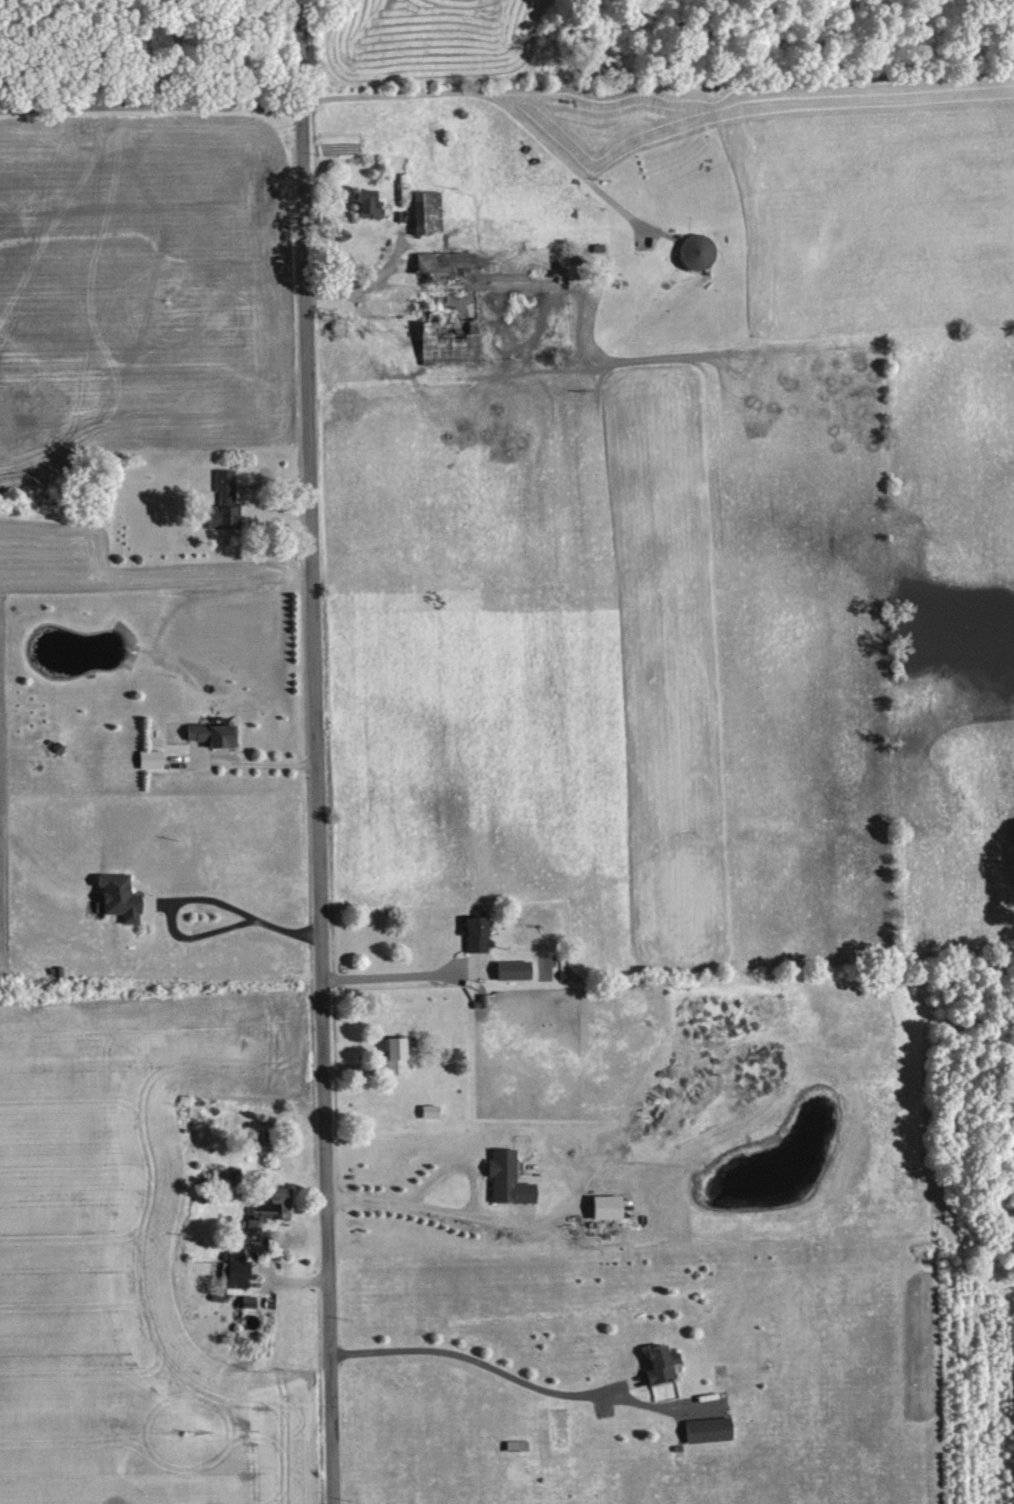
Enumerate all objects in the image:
road: (493, 94)
road: (149, 107)
building: (426, 210)
building: (694, 250)
building: (443, 262)
building: (449, 344)
building: (223, 499)
building: (212, 733)
road: (315, 751)
building: (149, 757)
road: (259, 761)
building: (118, 894)
road: (194, 897)
building: (476, 931)
building: (513, 967)
road: (398, 973)
building: (394, 1052)
building: (506, 1176)
building: (606, 1204)
road: (426, 1205)
building: (268, 1206)
building: (236, 1268)
building: (247, 1298)
road: (474, 1359)
building: (659, 1361)
building: (708, 1427)

